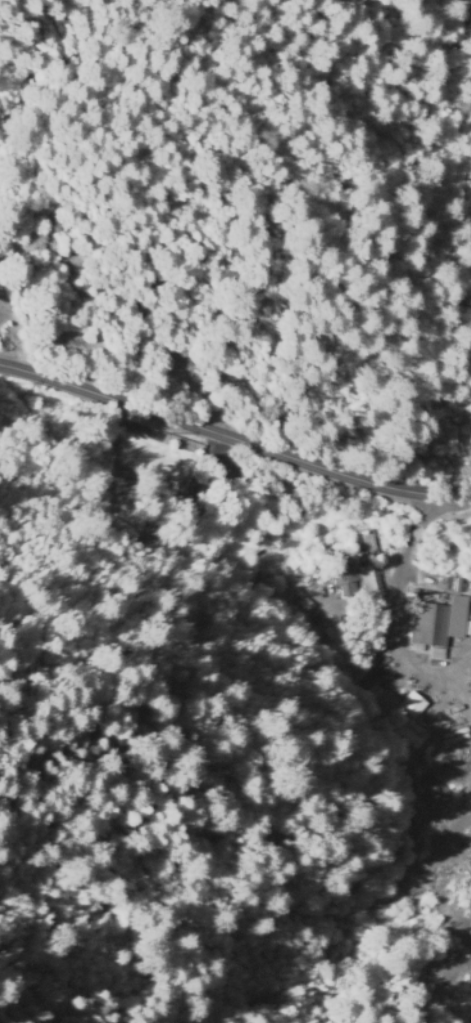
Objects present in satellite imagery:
road: (296, 200)
road: (234, 441)
building: (242, 476)
building: (172, 499)
building: (358, 576)
road: (395, 612)
building: (469, 615)
building: (438, 622)
building: (465, 628)
building: (361, 677)
road: (457, 692)
building: (385, 693)
building: (385, 702)
building: (409, 704)

